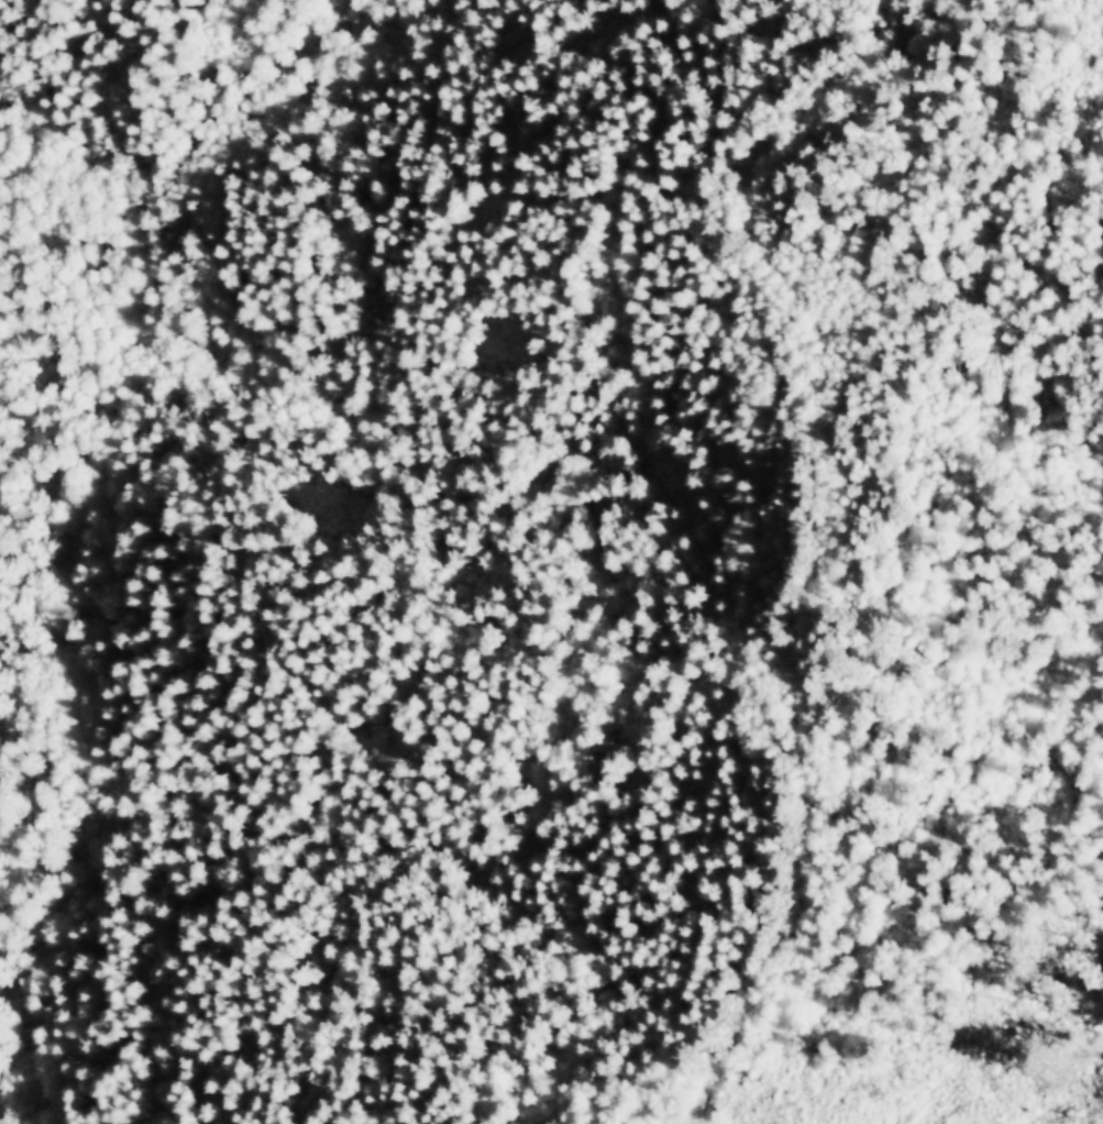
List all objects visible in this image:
road: (84, 129)
road: (18, 196)
road: (962, 241)
park: (554, 515)
road: (826, 530)

